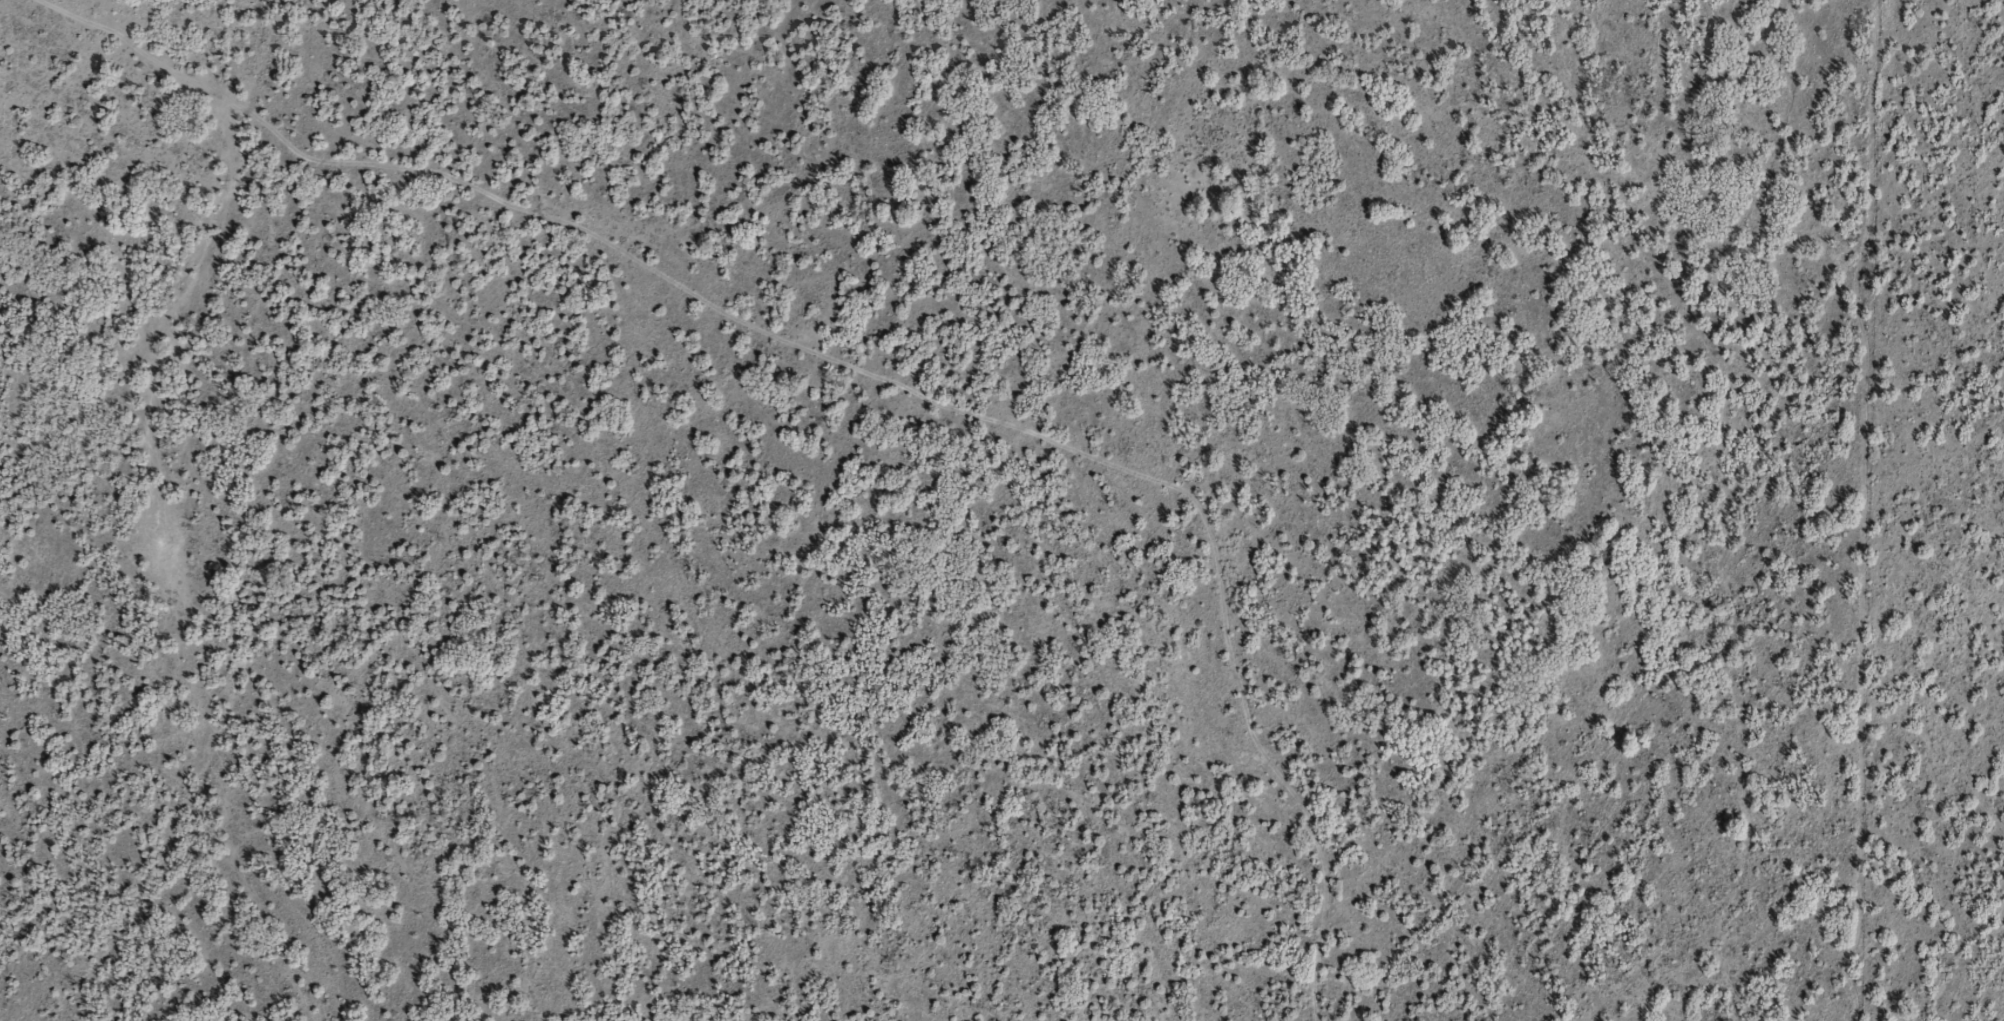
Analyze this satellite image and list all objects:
road: (444, 182)
road: (1250, 594)

